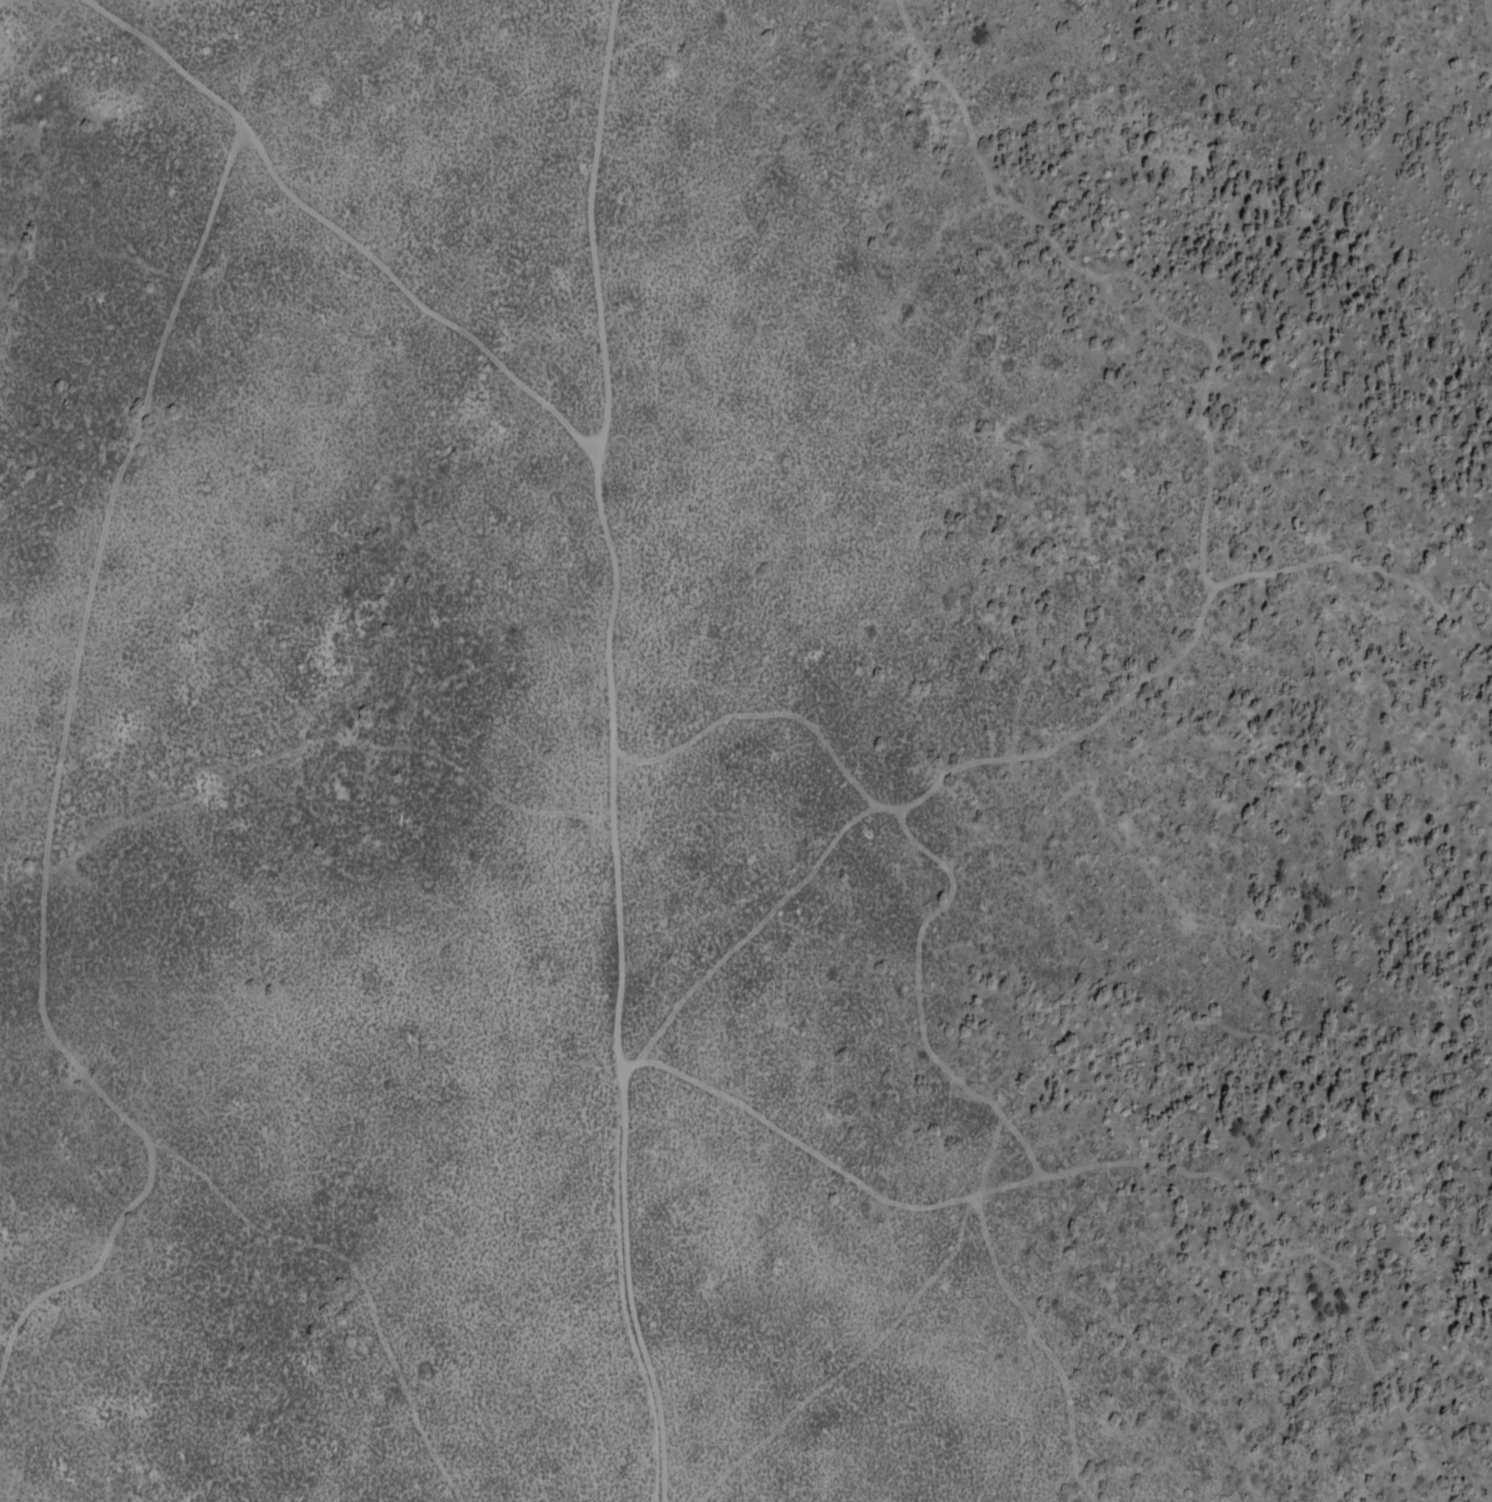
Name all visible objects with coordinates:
road: (653, 207)
road: (629, 630)

